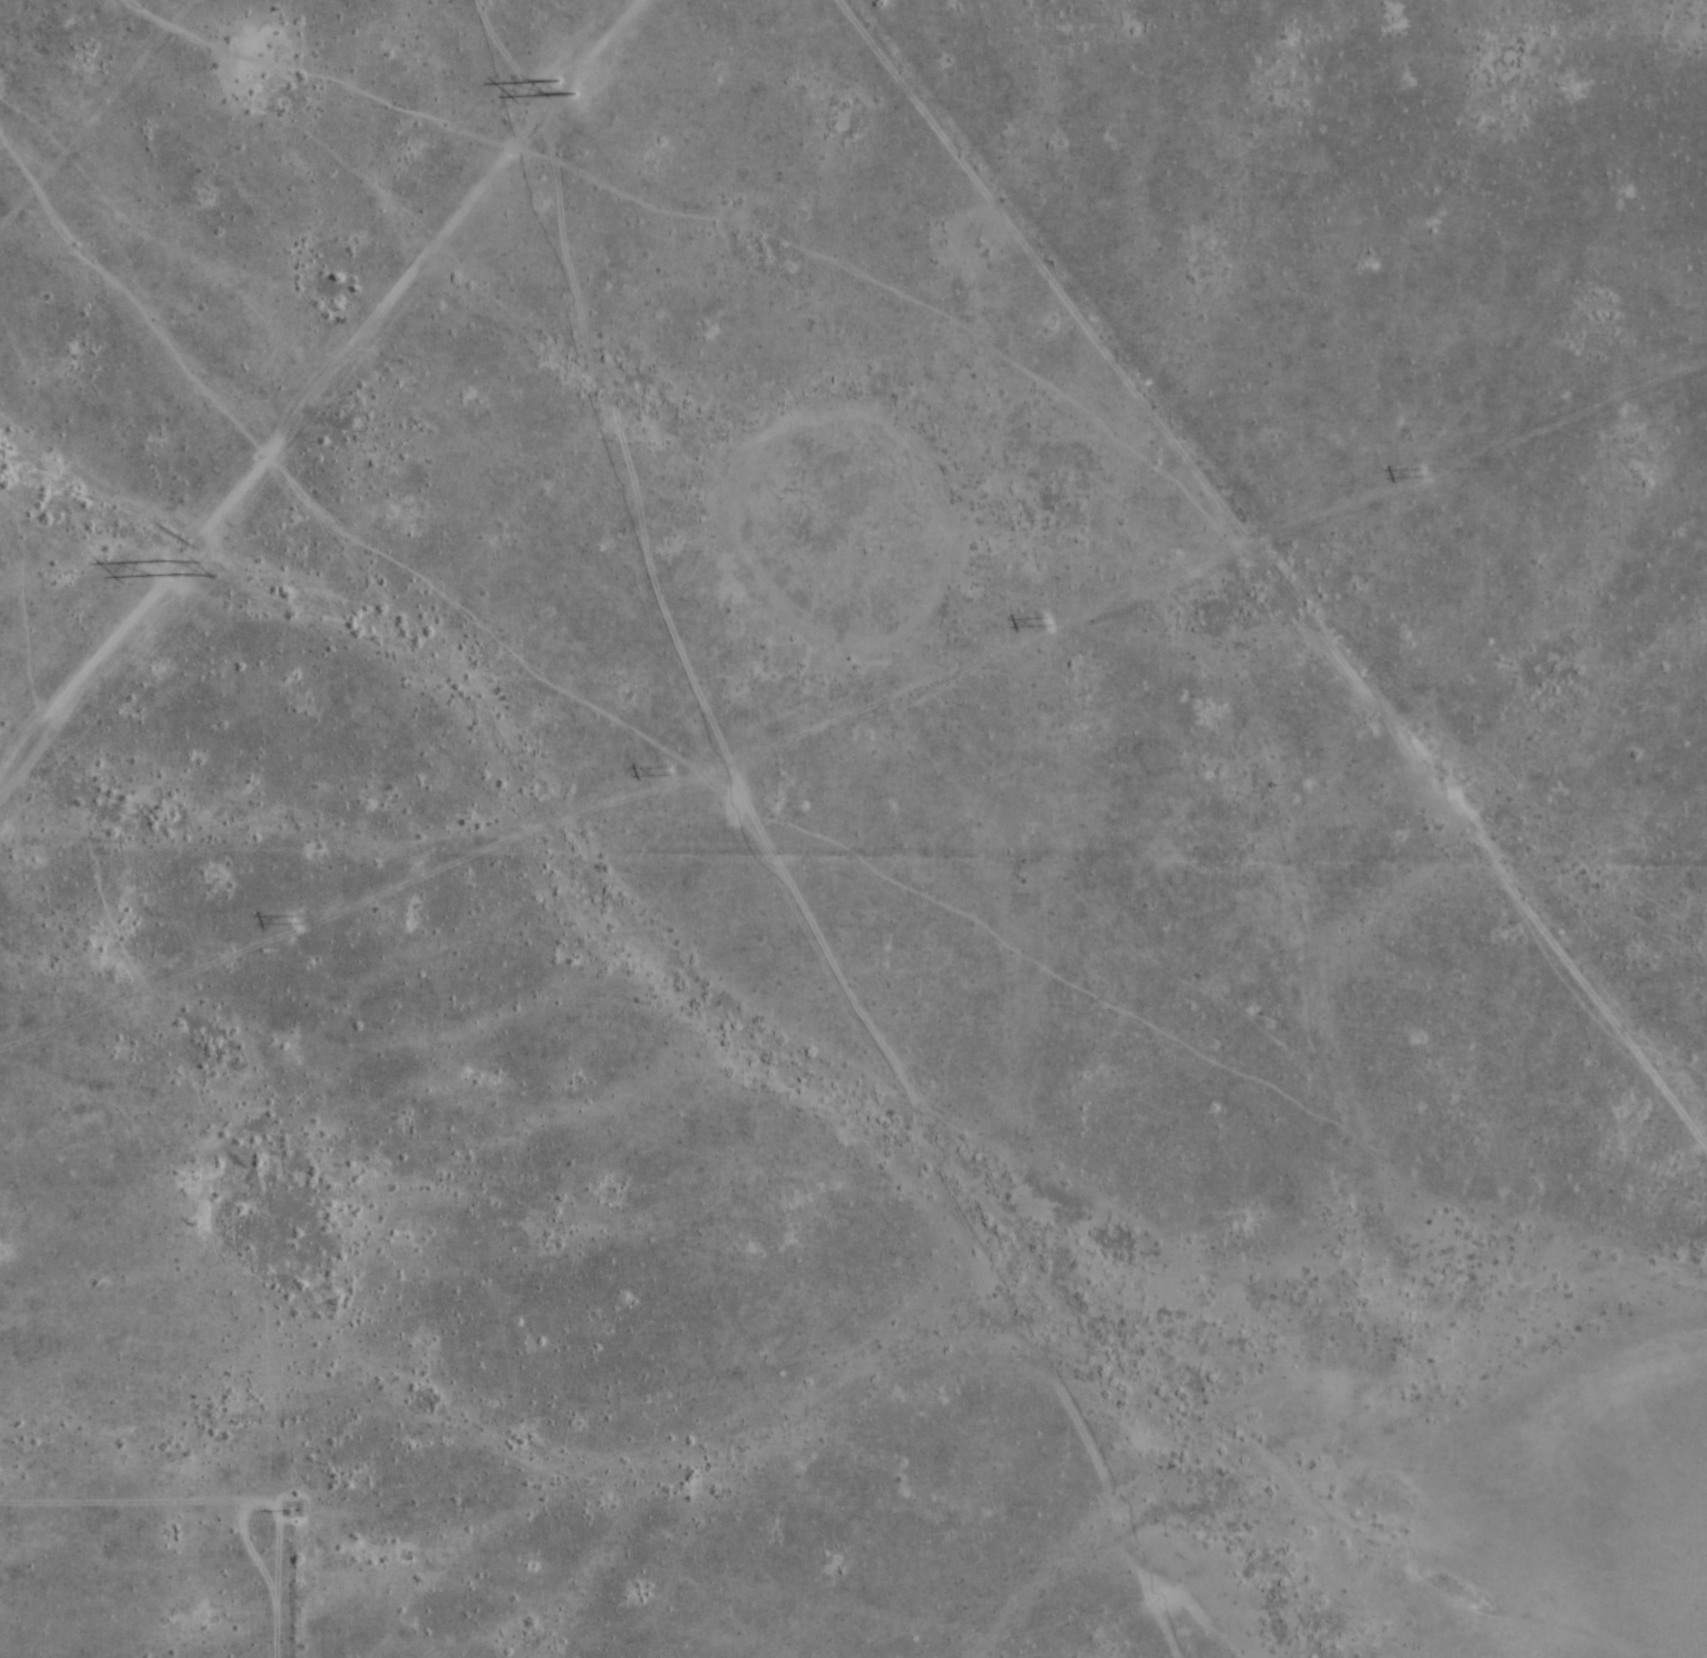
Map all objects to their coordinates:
power tower: (557, 85)
power tower: (1420, 474)
power tower: (166, 570)
power tower: (1042, 622)
power tower: (666, 771)
power tower: (288, 920)
road: (865, 1500)

